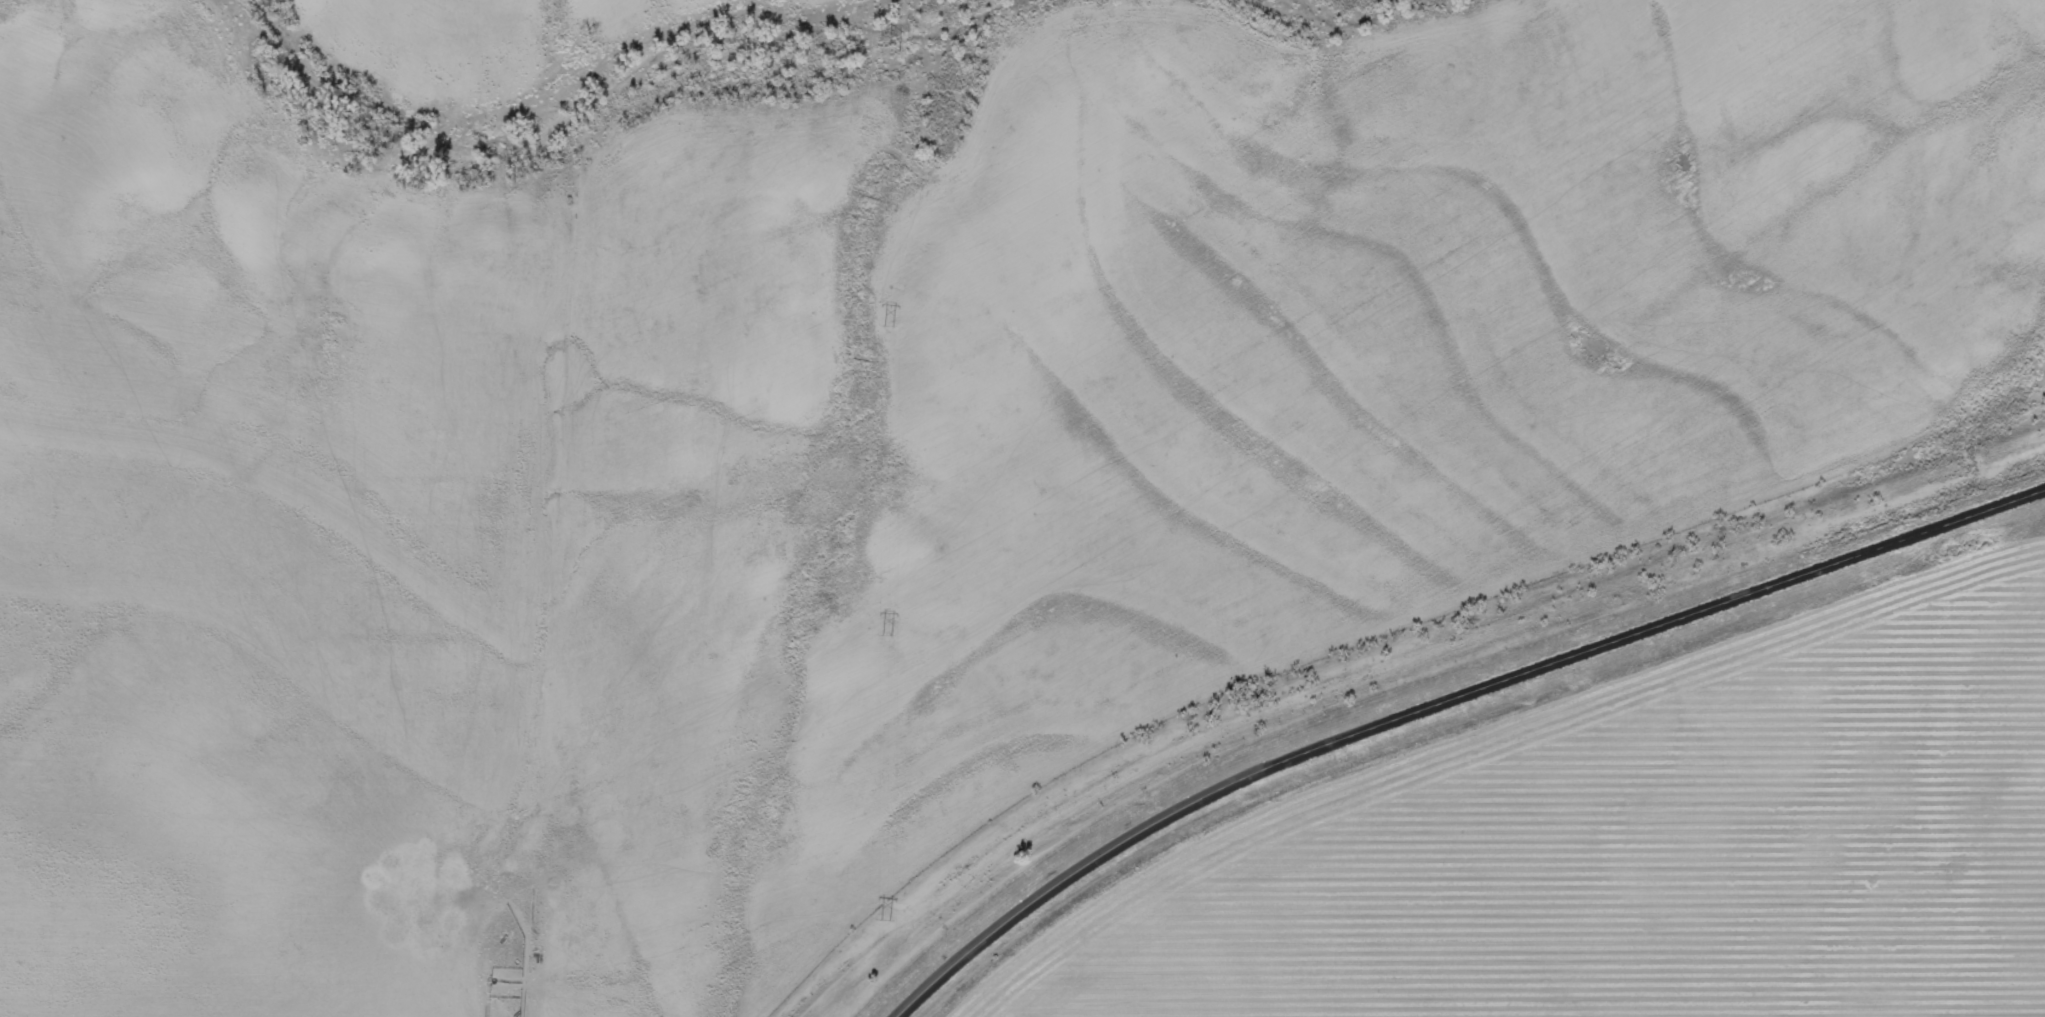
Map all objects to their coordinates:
power tower: (886, 44)
power tower: (888, 325)
power tower: (887, 635)
railway: (1410, 670)
road: (1449, 701)
power tower: (885, 918)

